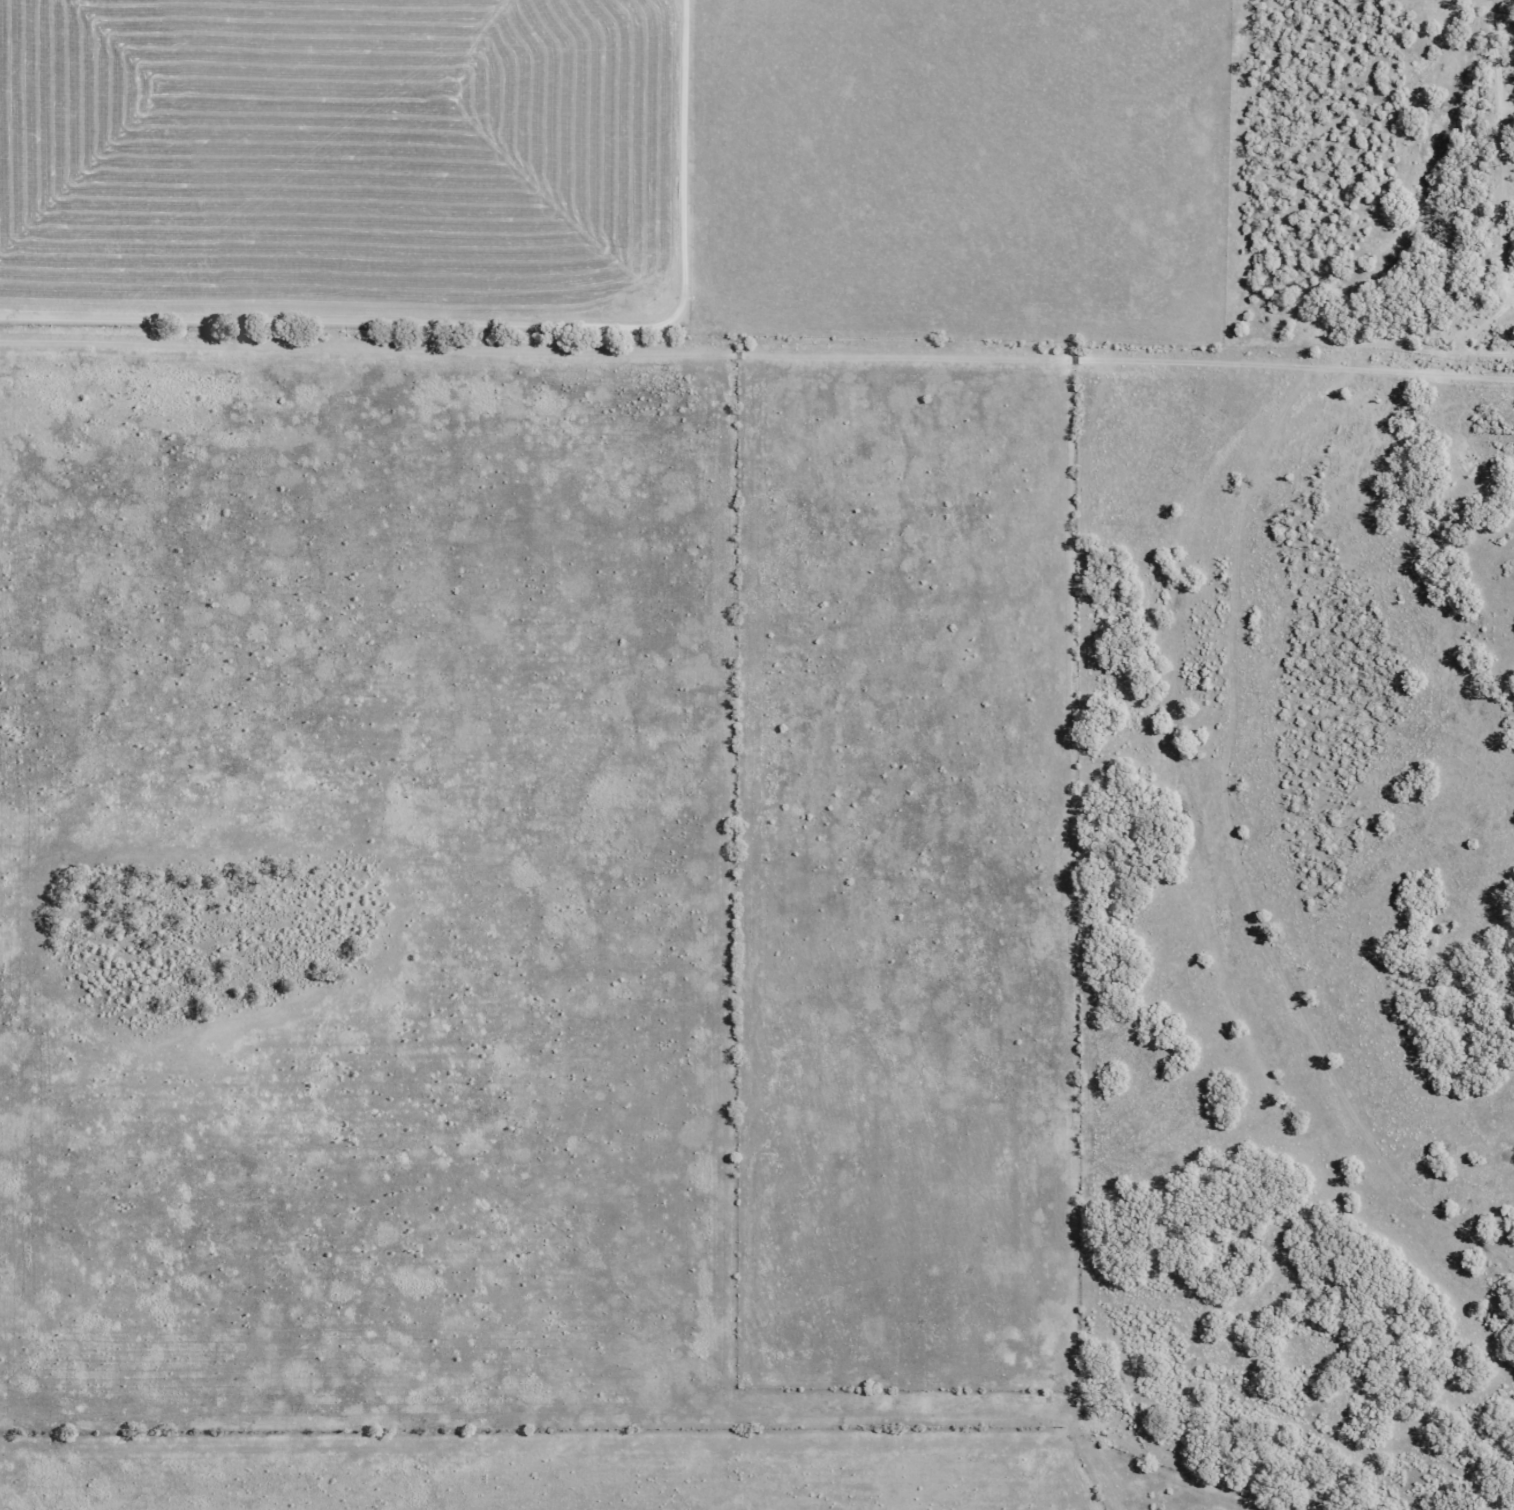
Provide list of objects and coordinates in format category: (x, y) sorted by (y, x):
road: (501, 328)
road: (757, 383)

